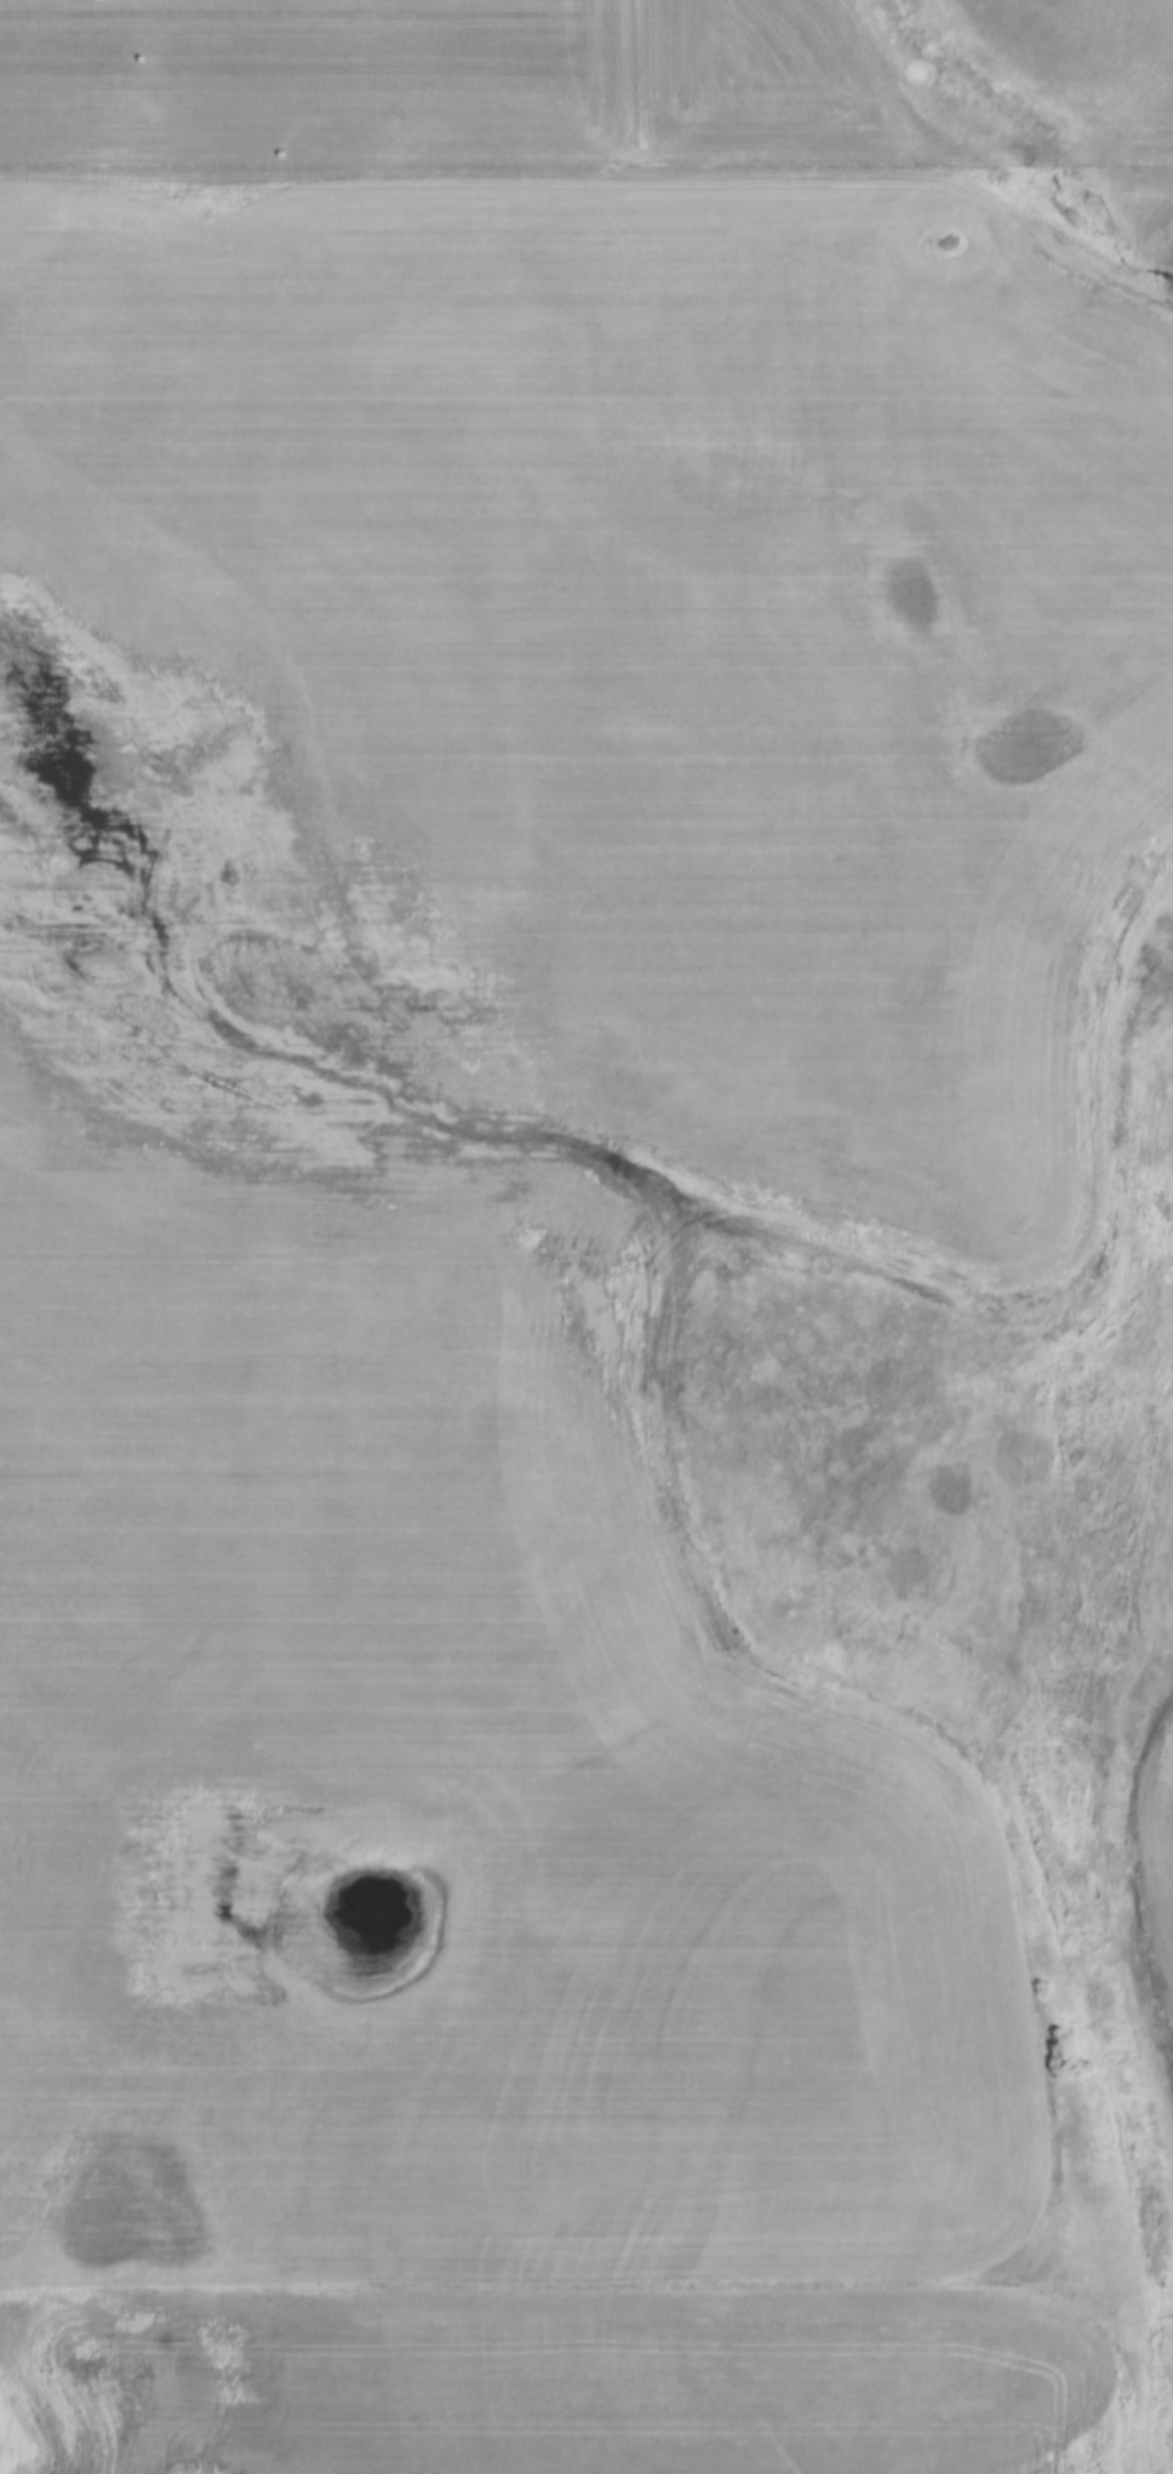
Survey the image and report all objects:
road: (491, 199)

